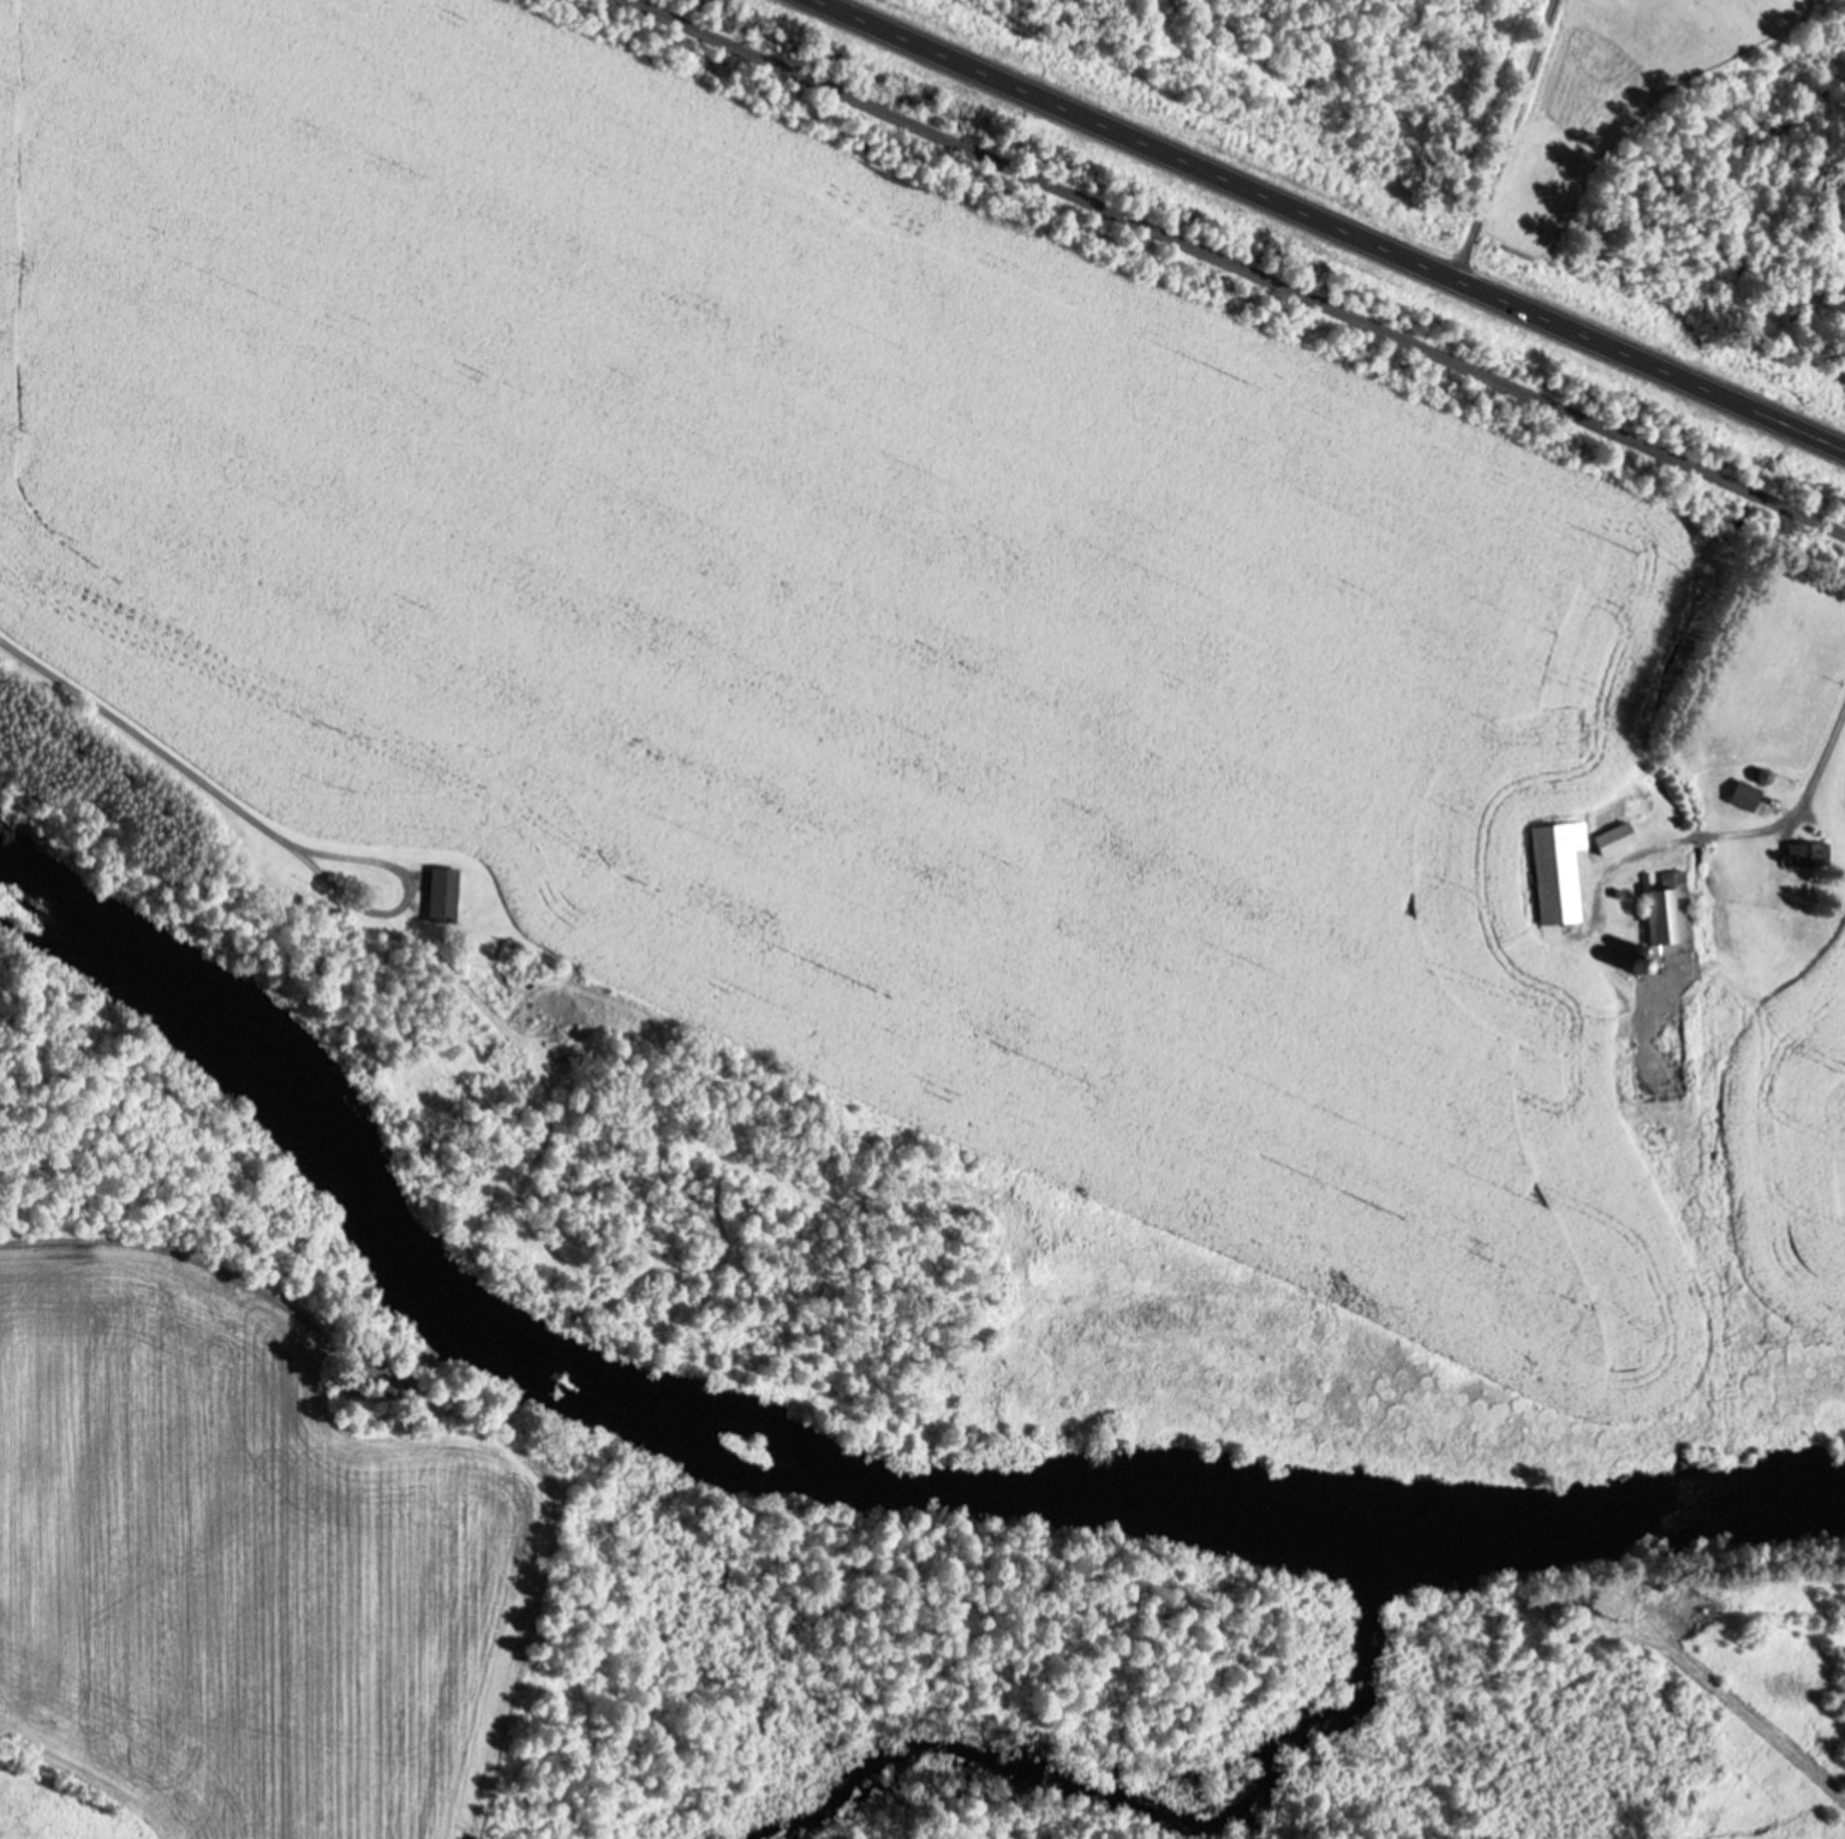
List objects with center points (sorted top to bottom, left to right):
road: (1333, 223)
road: (1242, 263)
road: (135, 730)
building: (1745, 793)
building: (1809, 853)
building: (1566, 864)
building: (443, 894)
building: (1667, 913)
river: (804, 1481)

